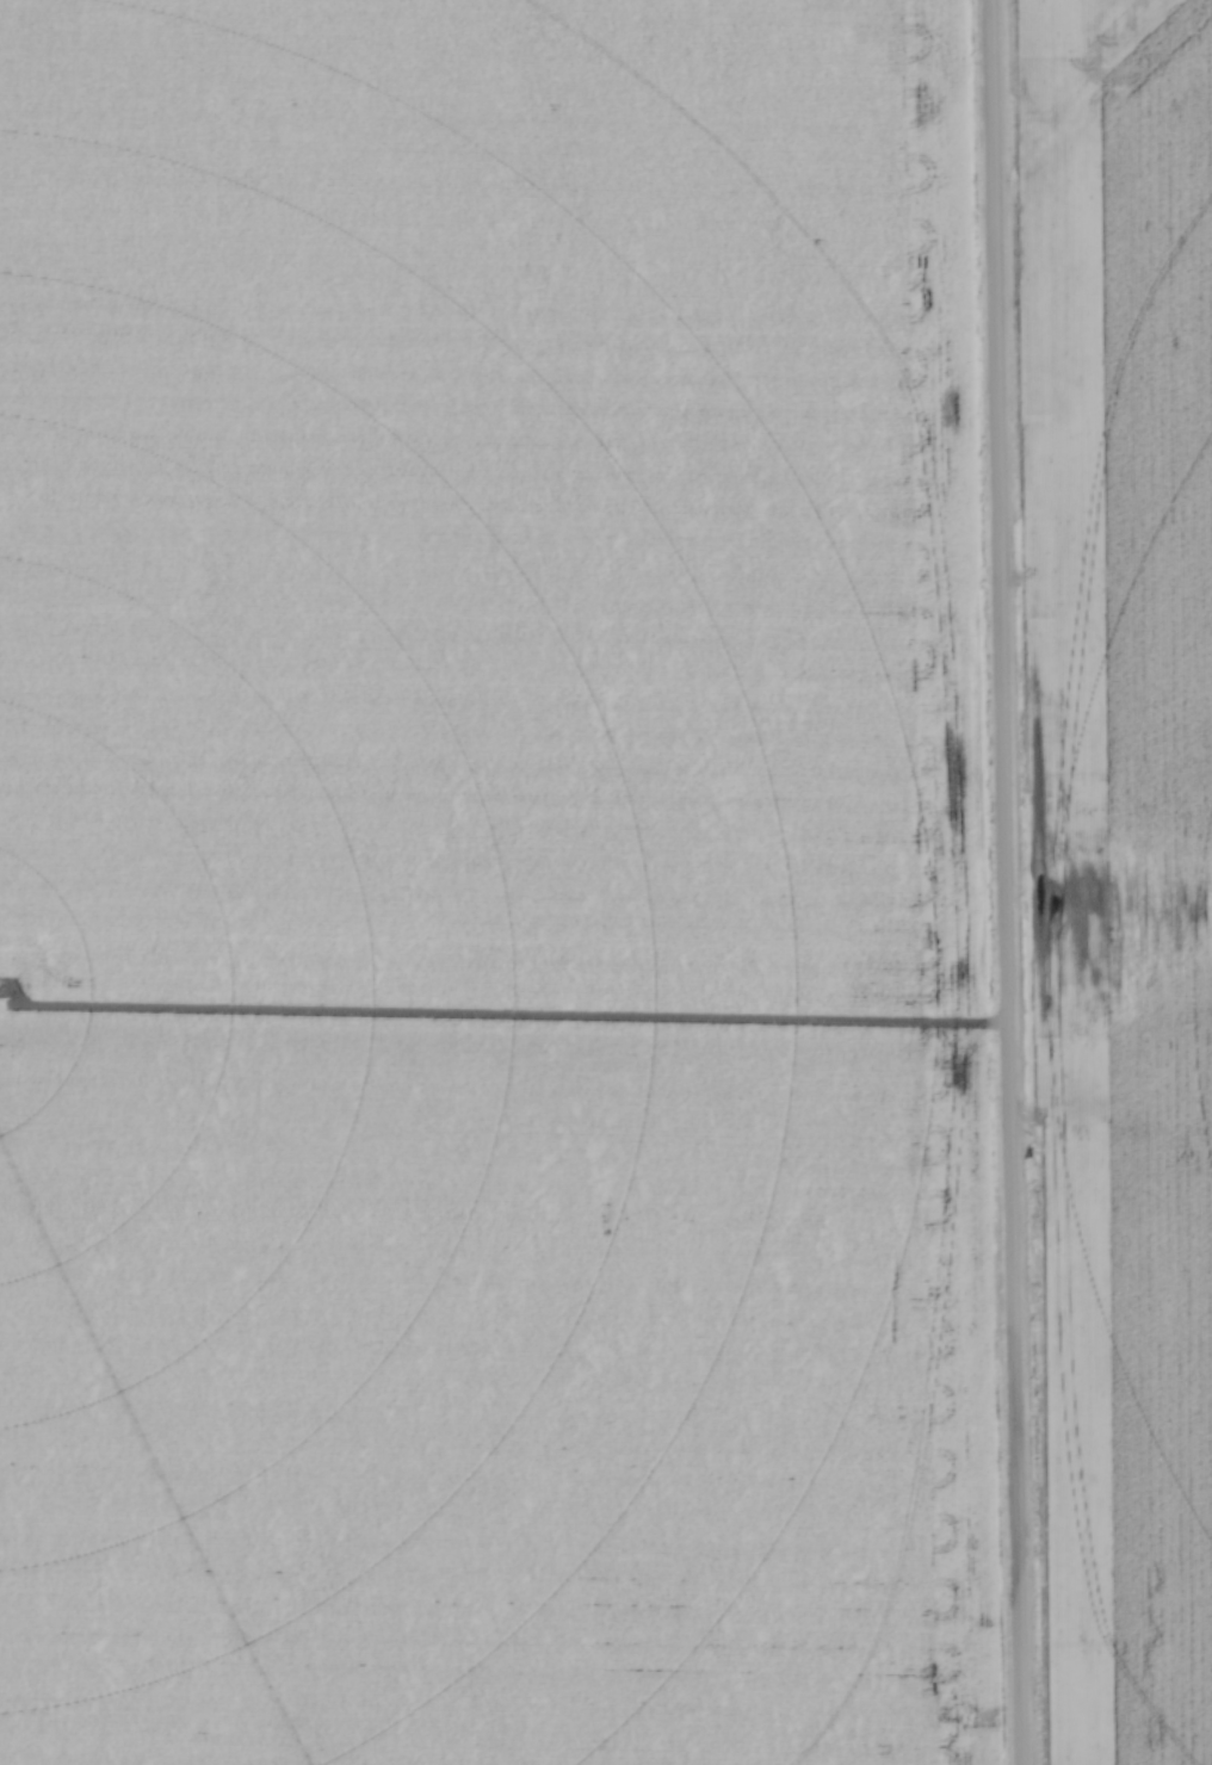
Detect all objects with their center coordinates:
road: (1001, 881)

